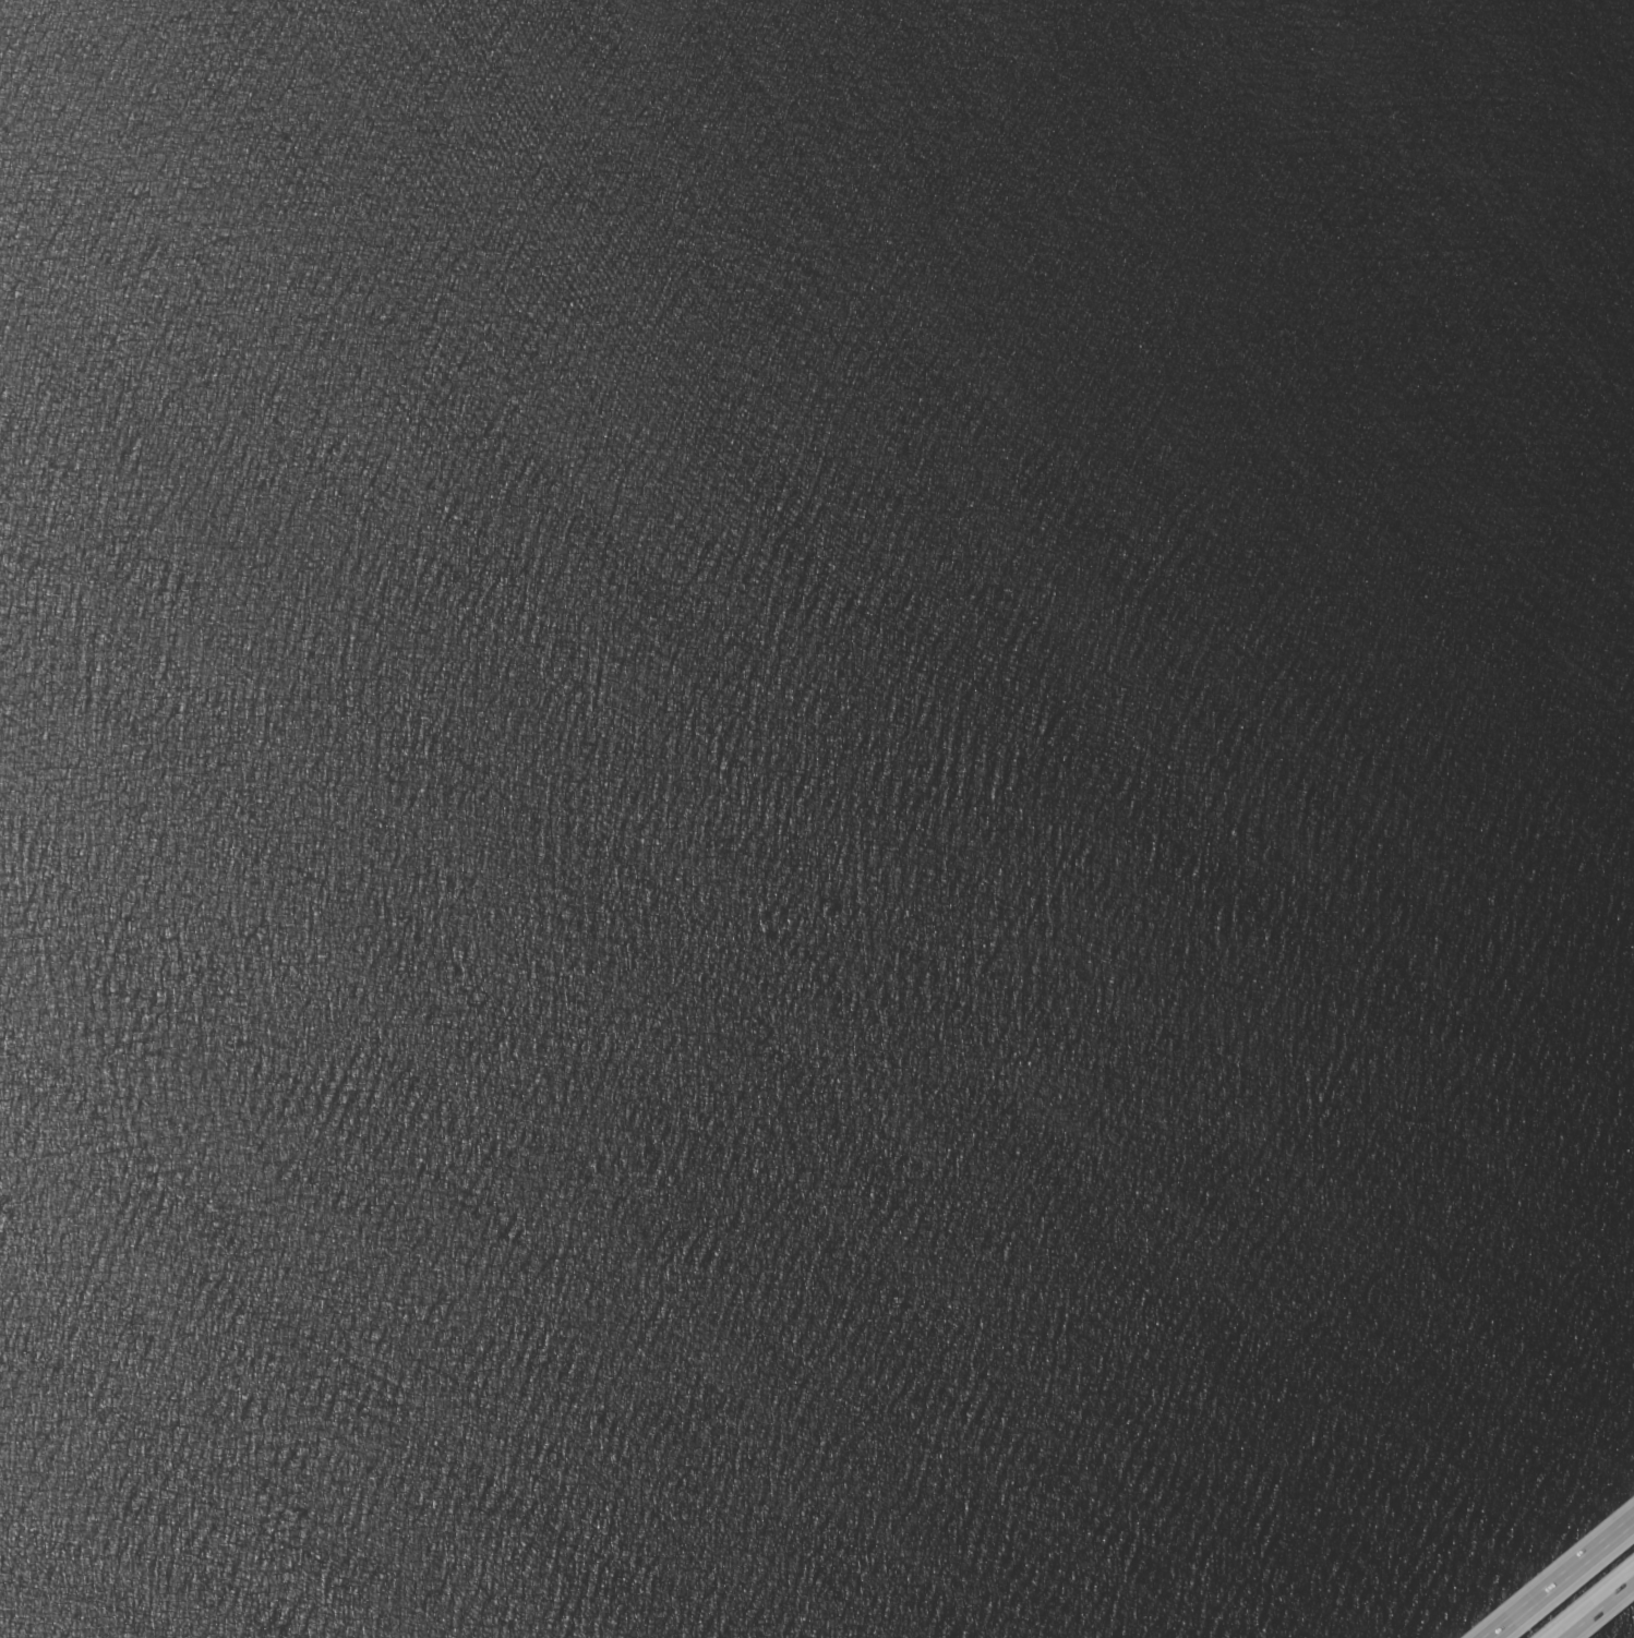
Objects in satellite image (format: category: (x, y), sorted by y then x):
road: (1565, 1582)
road: (1599, 1610)

